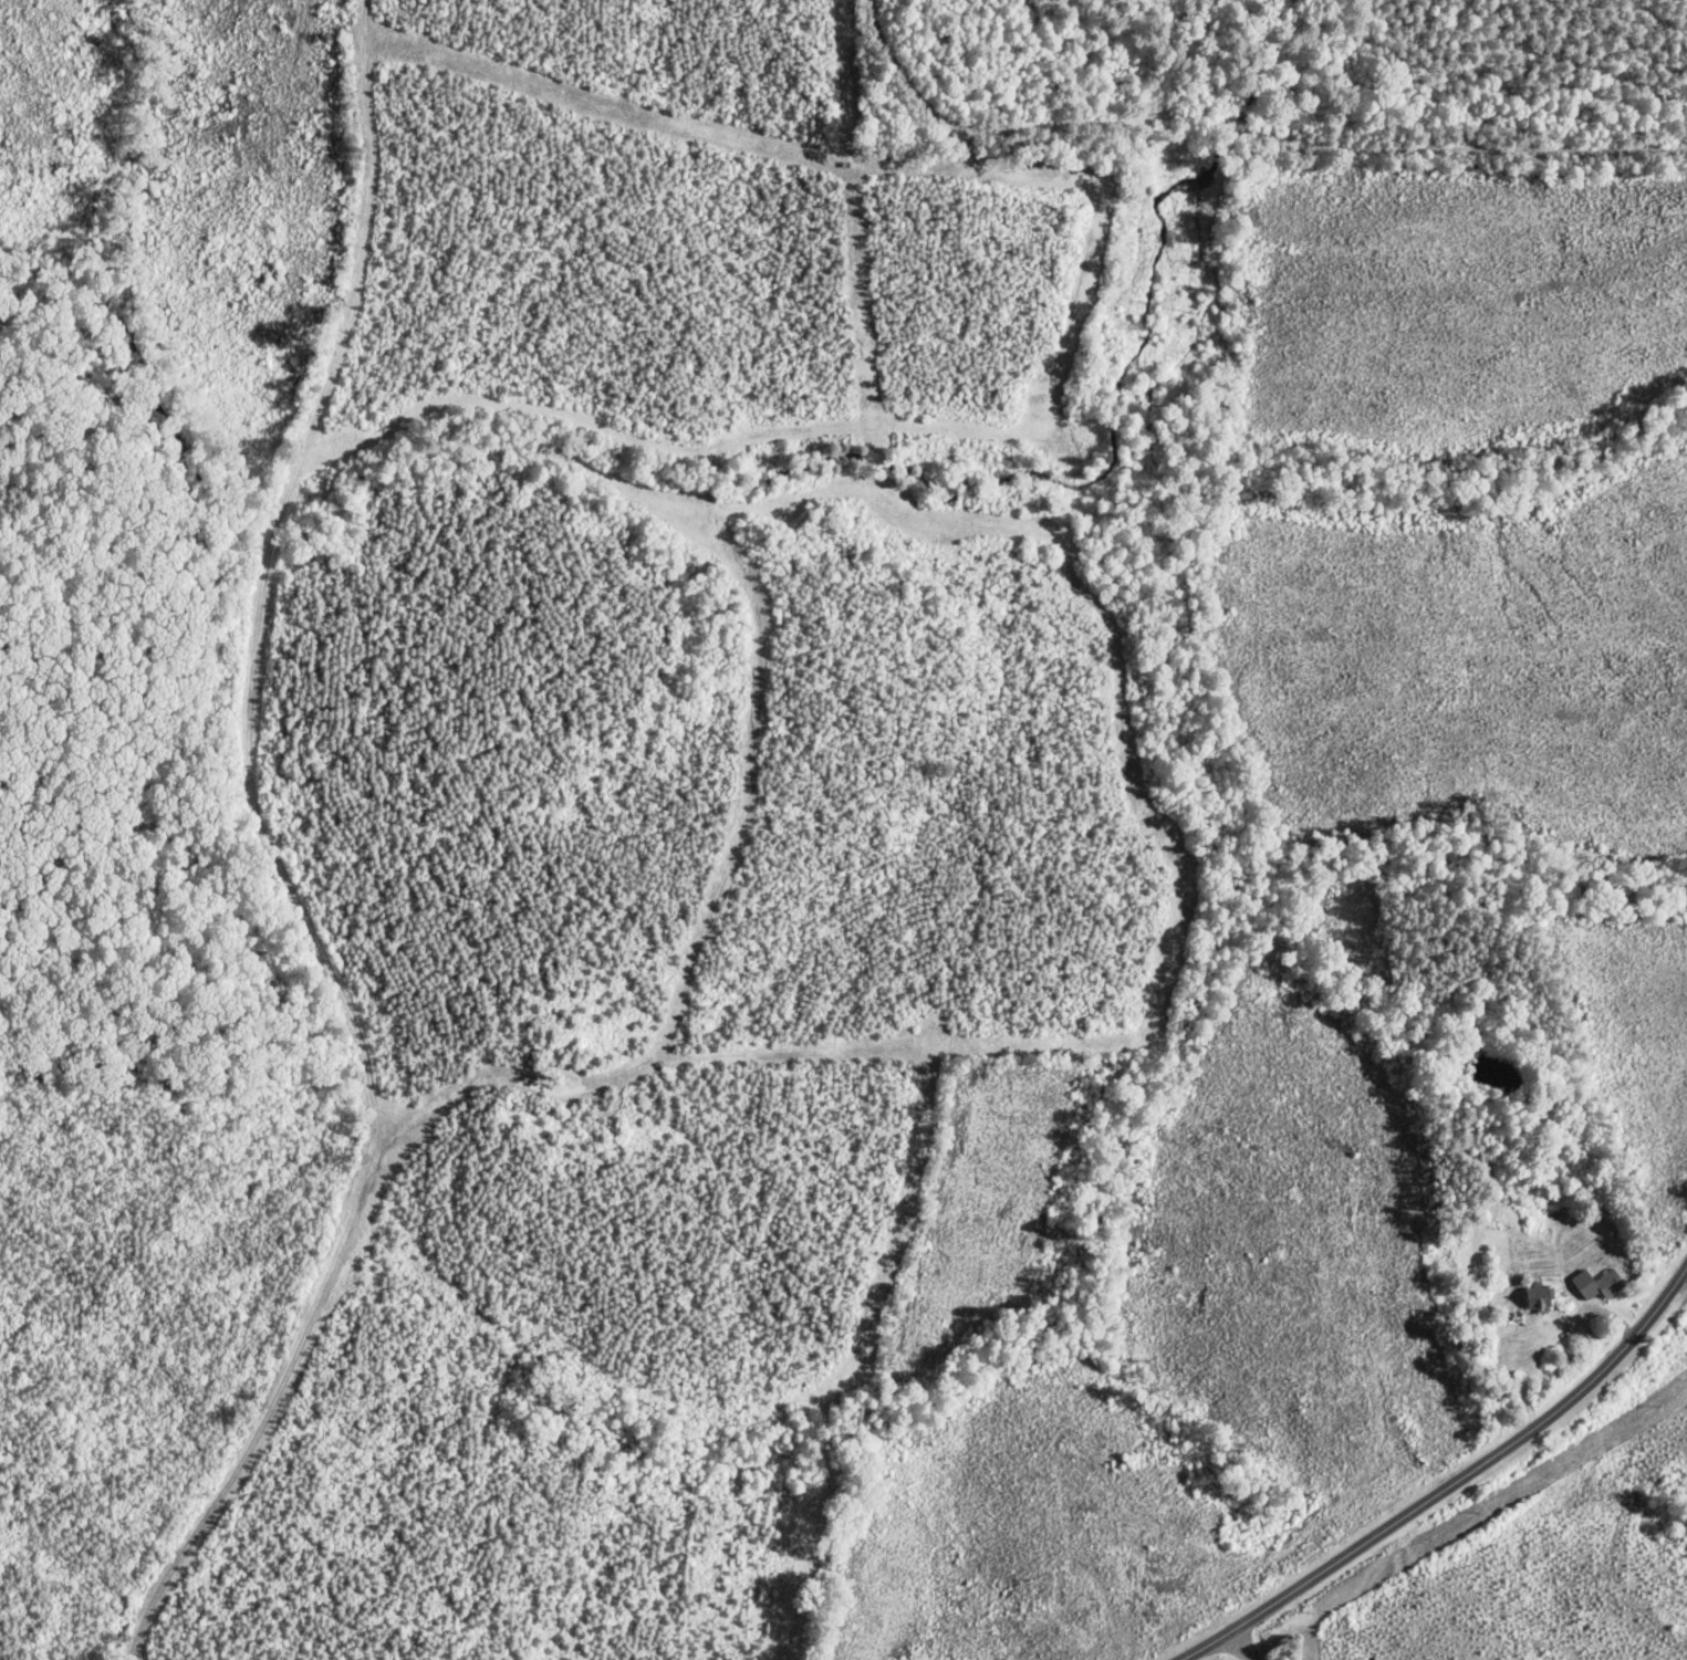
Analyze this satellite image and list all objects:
building: (1611, 1285)
building: (1541, 1297)
road: (1455, 1484)
road: (1243, 1647)

